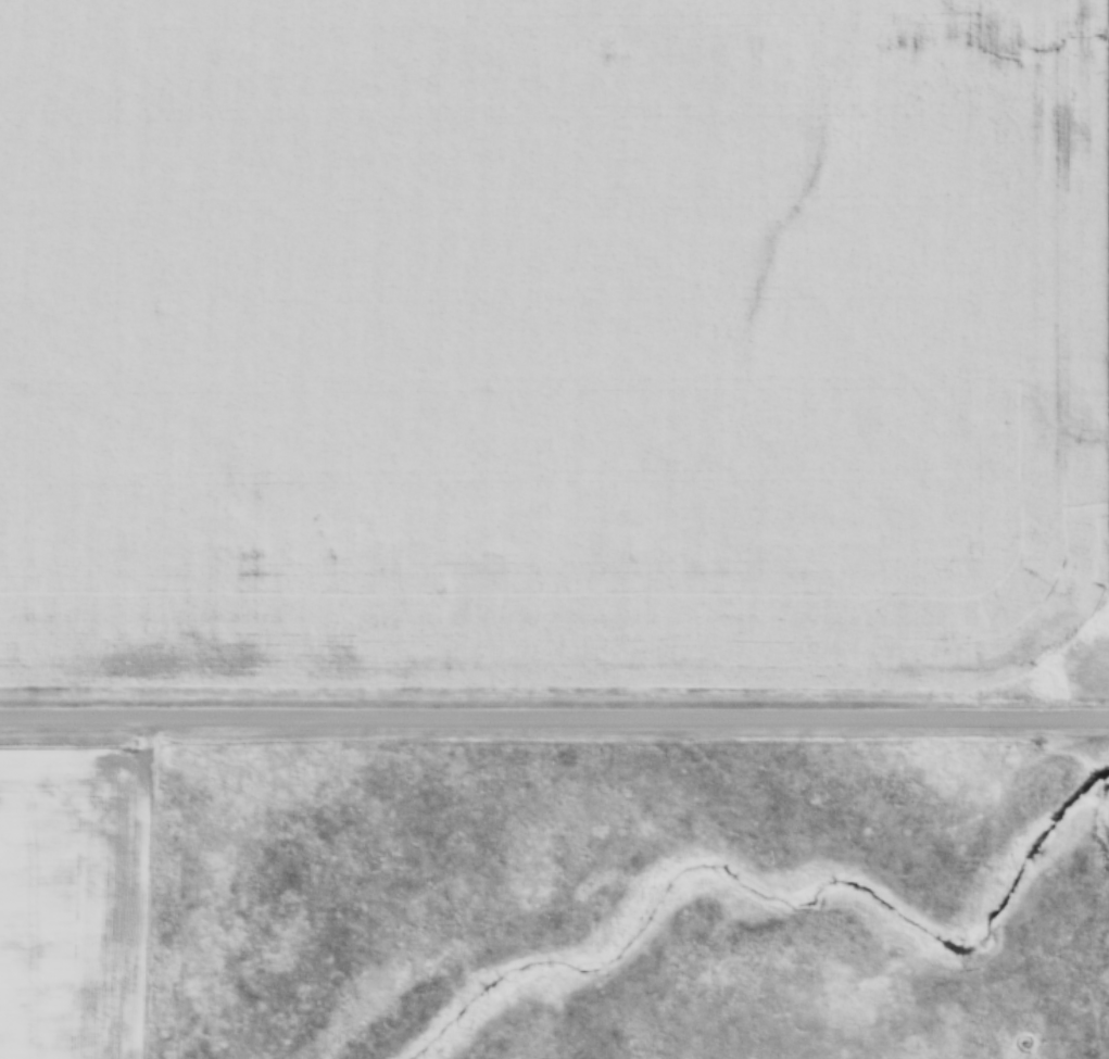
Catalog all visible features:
road: (554, 719)

